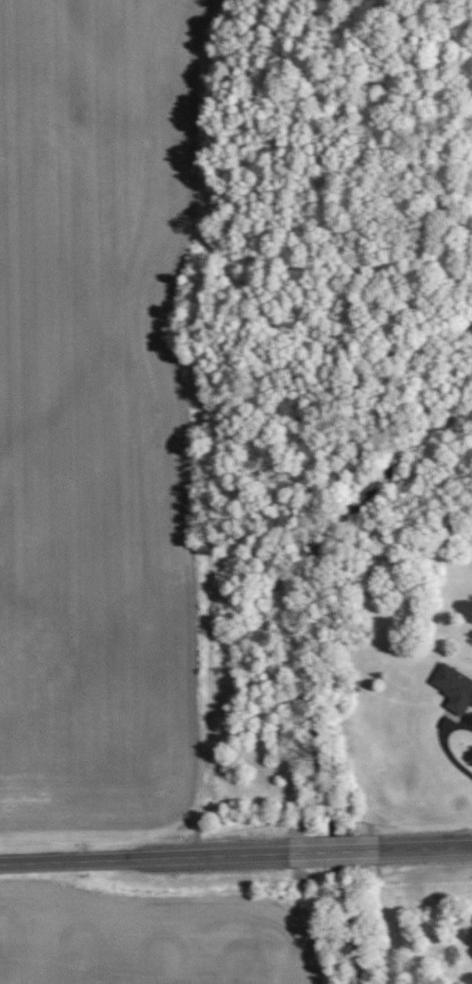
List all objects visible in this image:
building: (453, 687)
road: (444, 744)
road: (235, 855)

